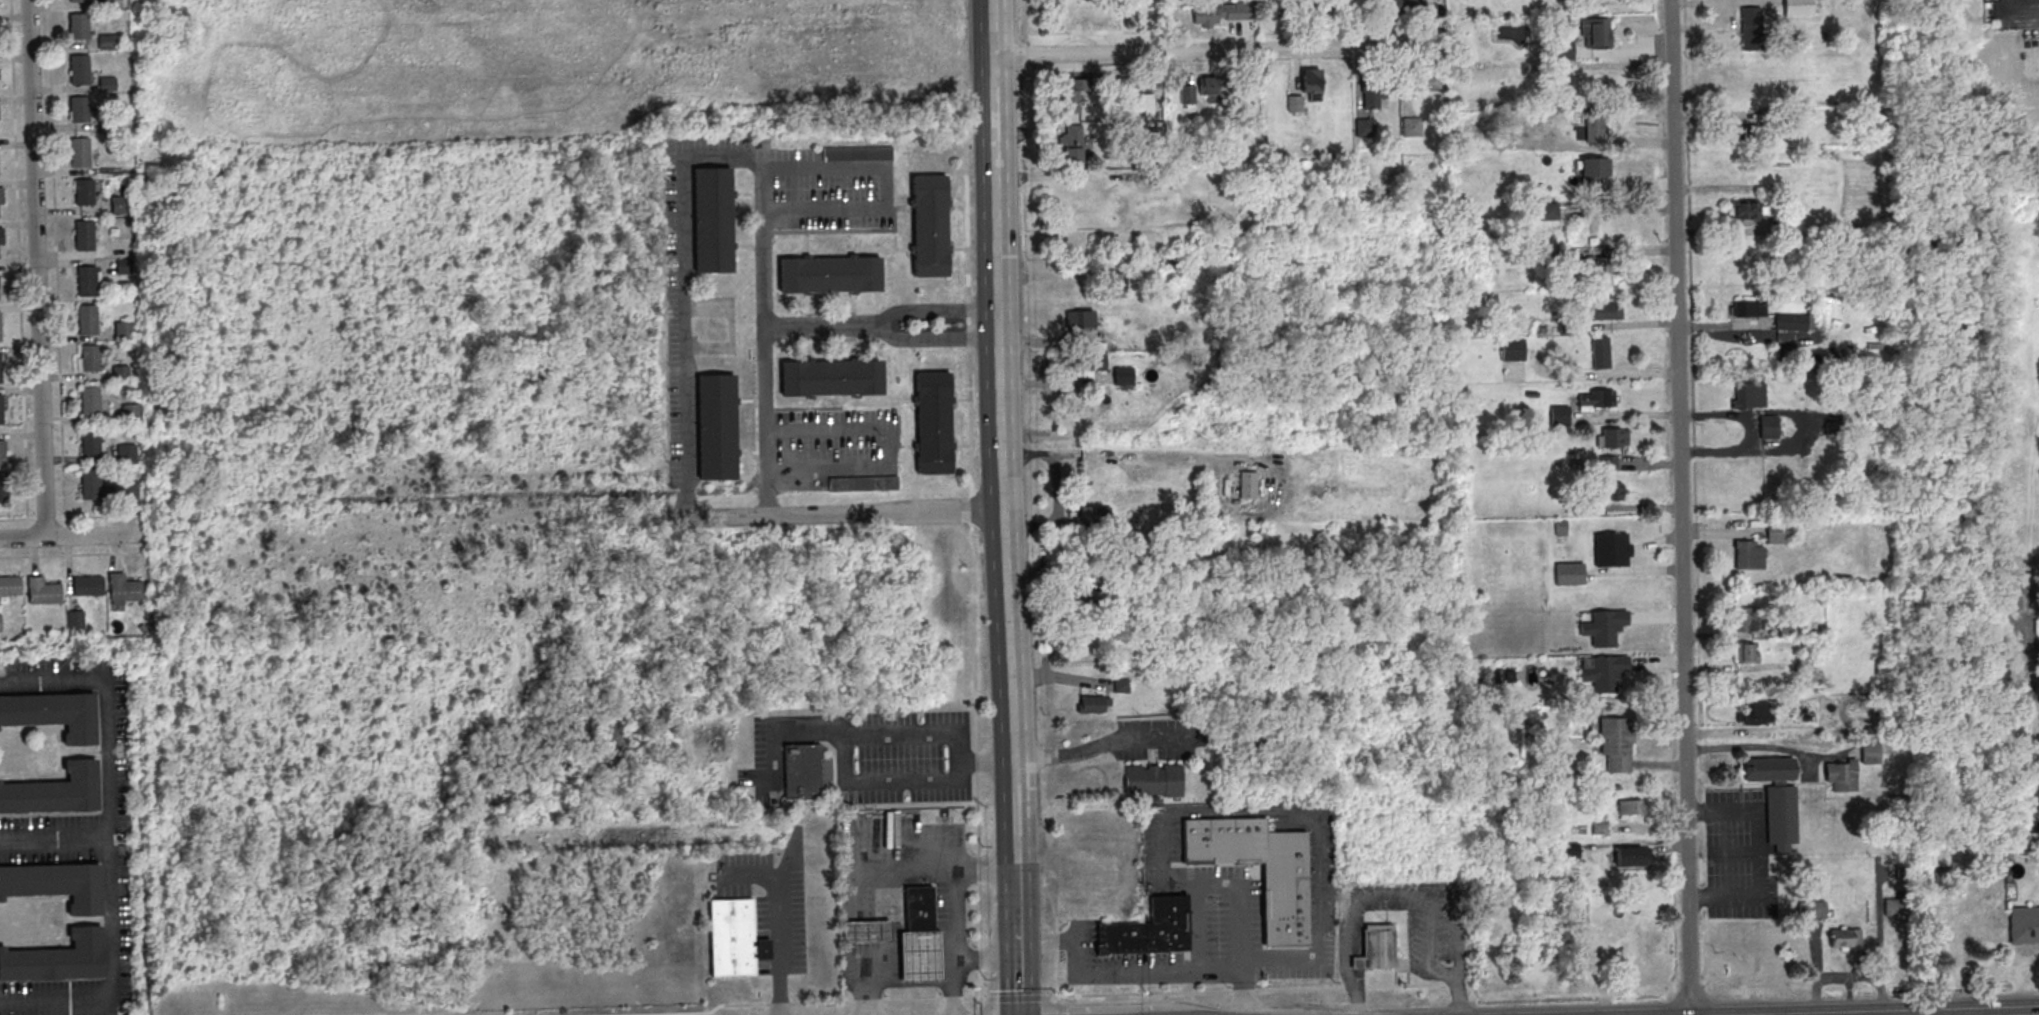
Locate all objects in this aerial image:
building: (77, 1)
building: (111, 3)
building: (1401, 6)
building: (1797, 7)
building: (1300, 10)
building: (1221, 12)
building: (78, 27)
road: (989, 28)
building: (1750, 28)
building: (1595, 33)
building: (107, 42)
road: (1215, 50)
building: (79, 70)
building: (1587, 79)
building: (1310, 80)
building: (1423, 81)
building: (106, 83)
building: (1375, 88)
building: (1214, 90)
building: (1186, 94)
building: (1073, 95)
building: (1136, 102)
building: (1293, 103)
building: (79, 109)
building: (108, 124)
building: (1411, 126)
building: (1364, 128)
building: (1593, 128)
building: (1071, 145)
building: (79, 153)
building: (856, 154)
road: (721, 157)
building: (1592, 173)
road: (884, 190)
building: (83, 192)
building: (1, 195)
building: (119, 205)
road: (1616, 209)
building: (1548, 211)
building: (1746, 211)
building: (713, 220)
building: (929, 226)
building: (1781, 229)
building: (83, 235)
building: (1, 237)
road: (1616, 251)
building: (1549, 260)
road: (18, 263)
road: (55, 263)
building: (124, 266)
building: (1592, 267)
road: (37, 268)
building: (829, 275)
building: (86, 281)
building: (1116, 284)
road: (934, 308)
building: (1748, 309)
building: (1603, 311)
building: (86, 319)
building: (1079, 320)
building: (1790, 322)
road: (820, 324)
road: (1627, 325)
road: (968, 327)
building: (1571, 327)
building: (123, 330)
building: (0, 331)
road: (934, 337)
building: (1512, 350)
building: (1600, 353)
building: (89, 357)
building: (1093, 364)
building: (0, 373)
building: (120, 373)
building: (1123, 376)
building: (831, 379)
building: (1749, 396)
building: (1596, 400)
building: (89, 401)
building: (0, 409)
building: (129, 413)
road: (1623, 414)
building: (1559, 415)
building: (932, 423)
building: (1768, 427)
building: (716, 428)
building: (1613, 438)
building: (90, 440)
road: (888, 445)
building: (2, 452)
building: (126, 452)
road: (999, 454)
building: (1607, 463)
road: (1647, 464)
building: (90, 482)
building: (863, 484)
building: (3, 485)
building: (1247, 485)
building: (128, 488)
building: (1610, 490)
road: (1056, 493)
road: (1680, 507)
road: (838, 514)
road: (98, 515)
building: (1094, 515)
road: (44, 517)
road: (17, 518)
building: (1560, 528)
road: (63, 530)
road: (1723, 531)
road: (26, 532)
building: (1775, 532)
road: (70, 534)
building: (1610, 550)
road: (71, 553)
building: (1748, 556)
building: (1160, 562)
road: (1632, 571)
building: (1569, 575)
building: (10, 583)
building: (86, 584)
building: (123, 587)
building: (42, 589)
building: (1095, 600)
building: (74, 618)
building: (1748, 619)
building: (0, 622)
building: (1603, 627)
building: (1745, 652)
building: (1604, 673)
road: (1060, 677)
building: (1121, 686)
building: (1090, 705)
building: (1754, 712)
building: (53, 713)
building: (1517, 722)
road: (788, 731)
parking lot: (1159, 739)
road: (1100, 742)
building: (1616, 744)
building: (1870, 753)
parking lot: (905, 758)
road: (1657, 765)
building: (802, 772)
building: (1841, 776)
road: (848, 780)
building: (1152, 781)
building: (55, 791)
building: (1777, 799)
building: (1632, 808)
road: (1199, 811)
road: (55, 833)
building: (2017, 837)
road: (110, 839)
building: (1570, 850)
road: (977, 855)
building: (1631, 856)
road: (914, 870)
building: (1903, 872)
building: (1284, 878)
building: (56, 883)
road: (1014, 884)
road: (1401, 900)
building: (1898, 907)
building: (1812, 910)
building: (918, 911)
road: (778, 925)
building: (2023, 925)
building: (1148, 930)
building: (864, 932)
road: (868, 932)
building: (733, 939)
building: (1845, 939)
road: (954, 942)
building: (1377, 946)
building: (919, 957)
building: (57, 958)
road: (978, 960)
road: (920, 965)
road: (1016, 965)
road: (1057, 965)
road: (884, 966)
road: (1220, 969)
road: (869, 978)
road: (1241, 985)
road: (1245, 989)
road: (1019, 996)
road: (850, 1000)
road: (1883, 1011)
road: (1059, 1012)
road: (980, 1013)
road: (1920, 1013)

